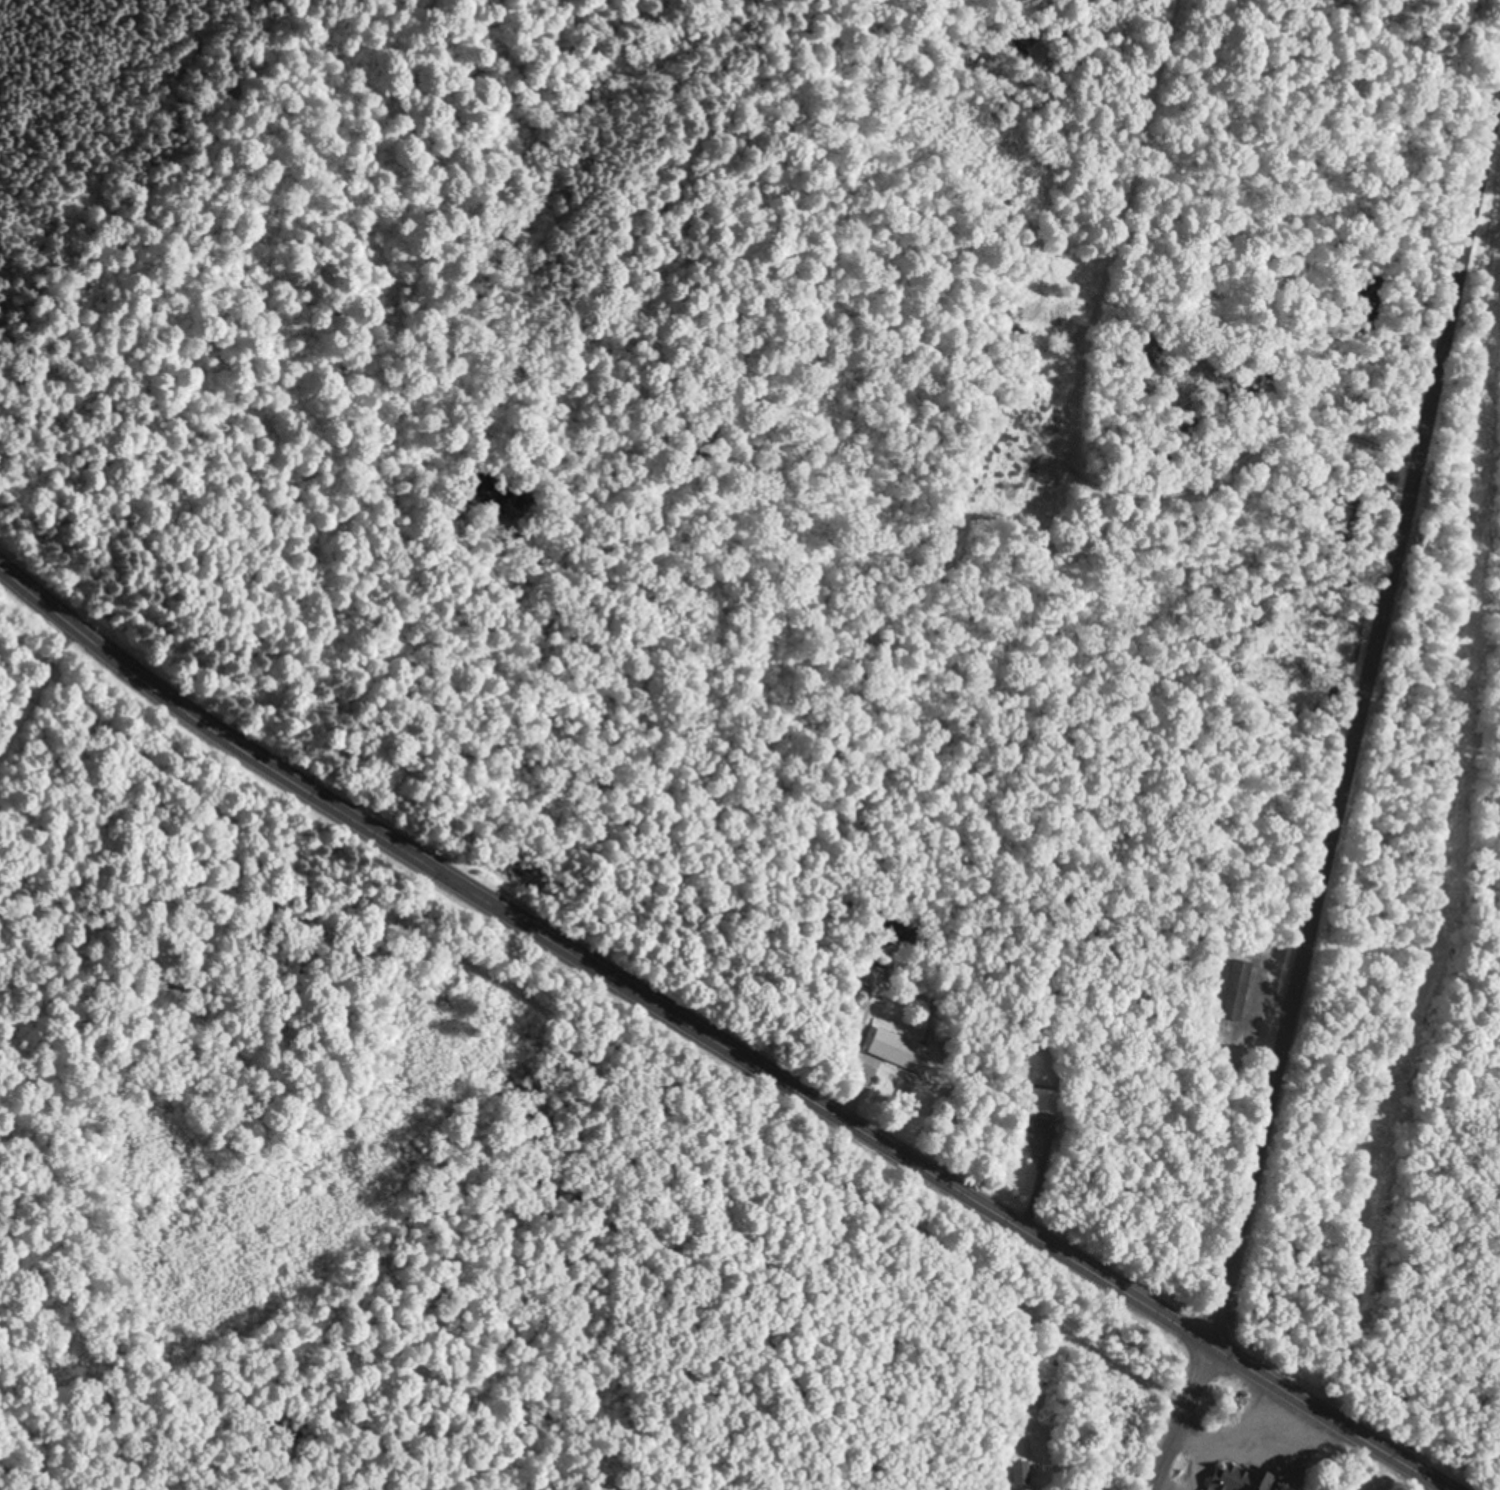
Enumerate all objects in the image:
road: (1049, 108)
road: (1370, 742)
building: (871, 977)
building: (1239, 992)
road: (715, 1042)
building: (901, 1053)
building: (1046, 1103)
road: (1186, 1419)
building: (1020, 1476)
building: (1239, 1479)

